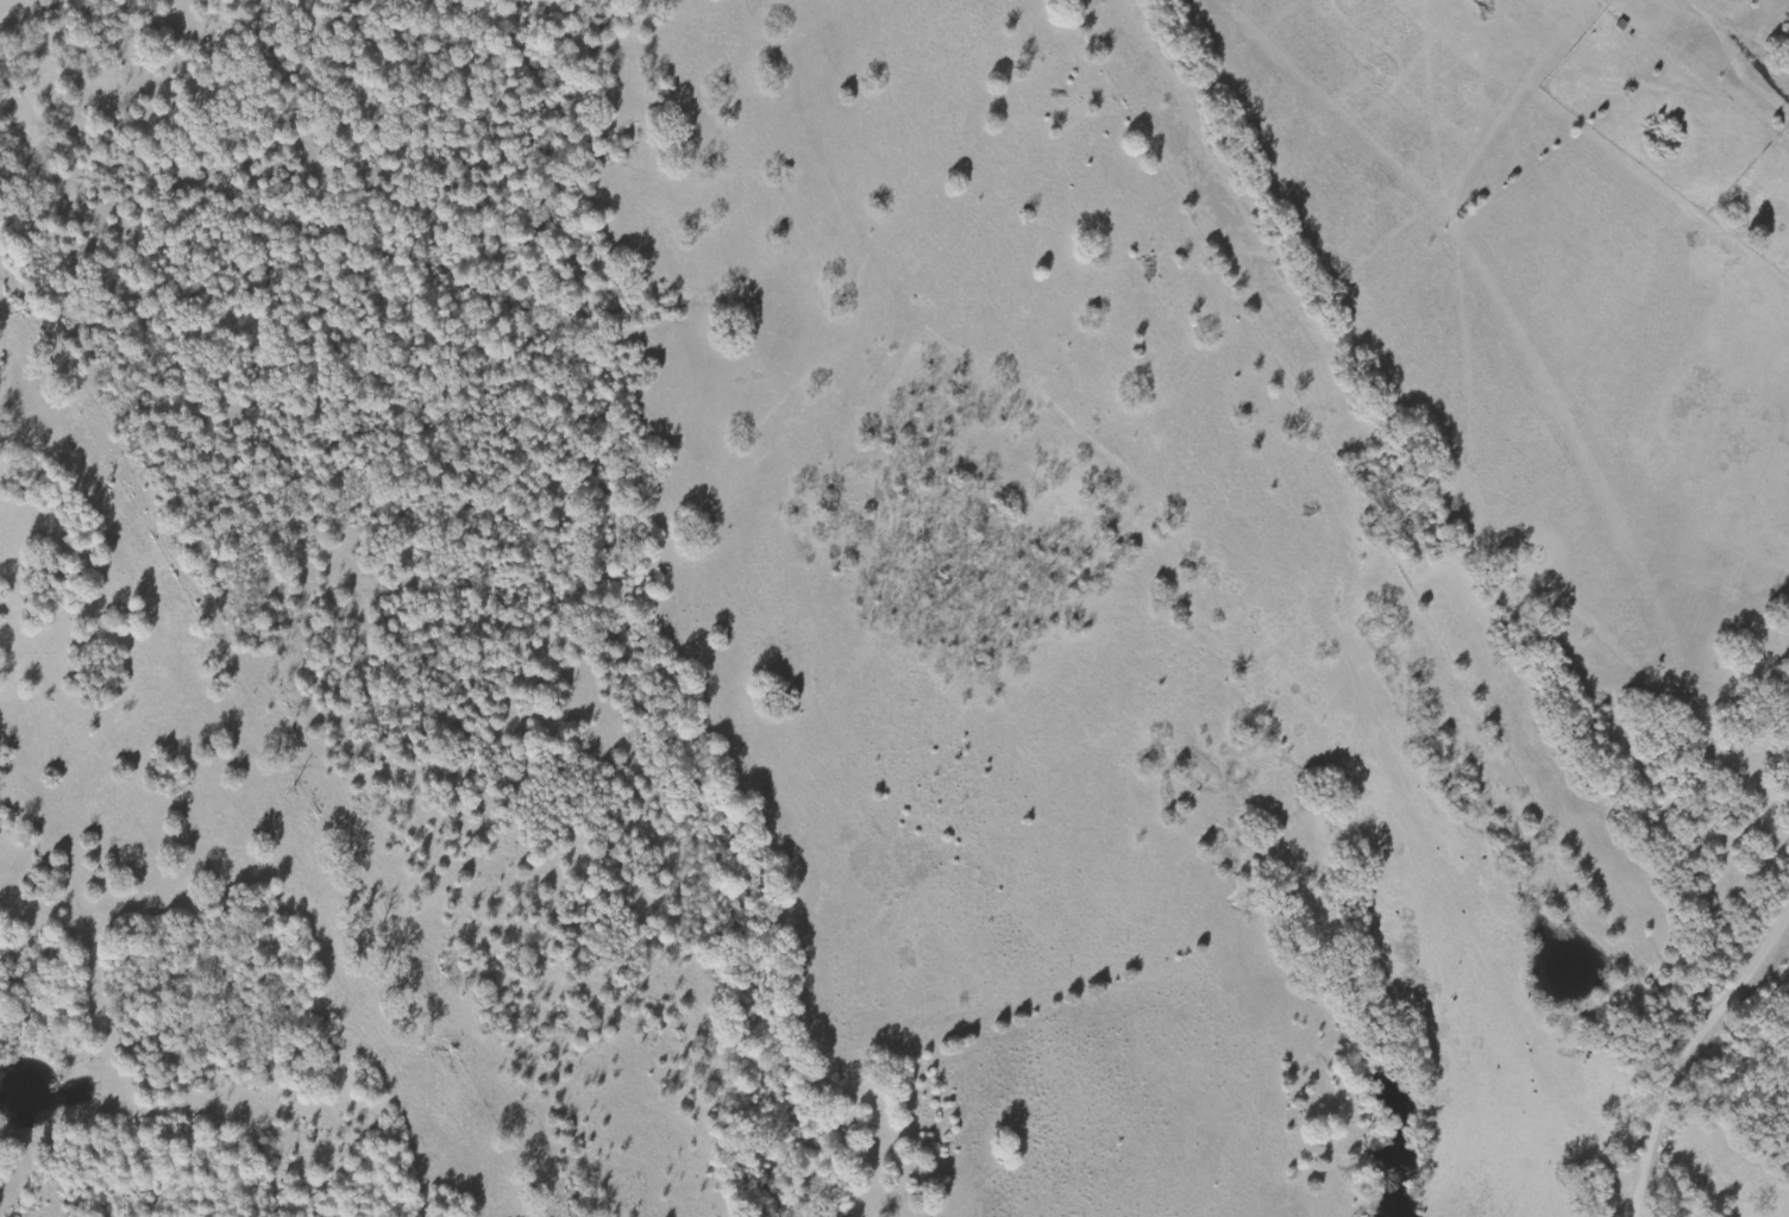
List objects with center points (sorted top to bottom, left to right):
road: (1683, 1056)

